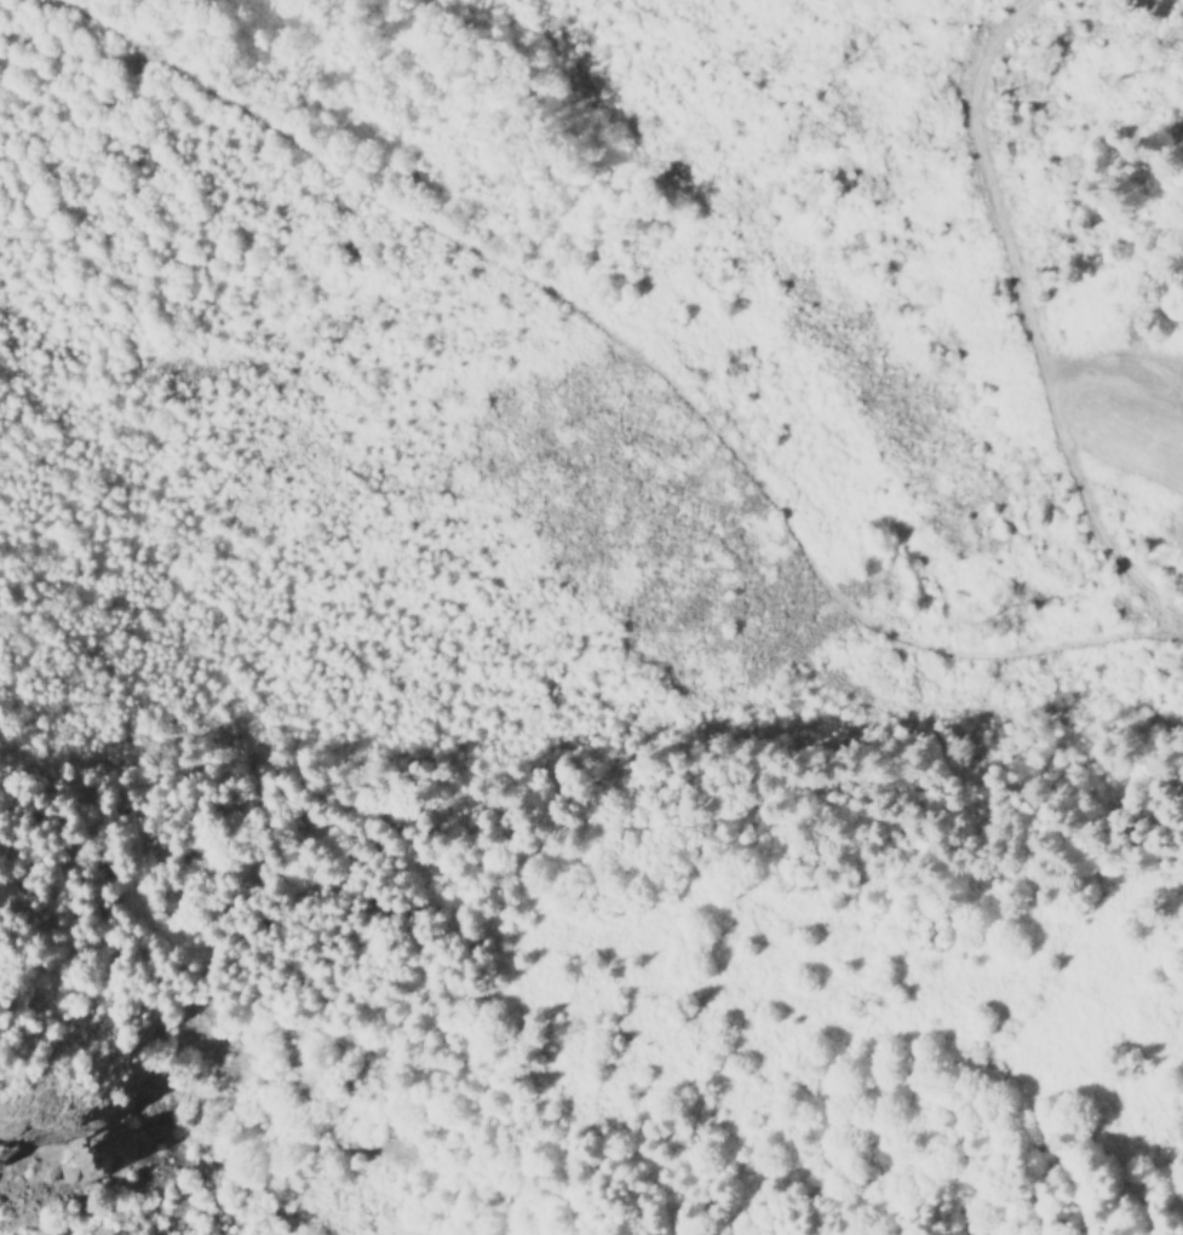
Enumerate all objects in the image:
road: (1027, 318)
airport: (1120, 407)

